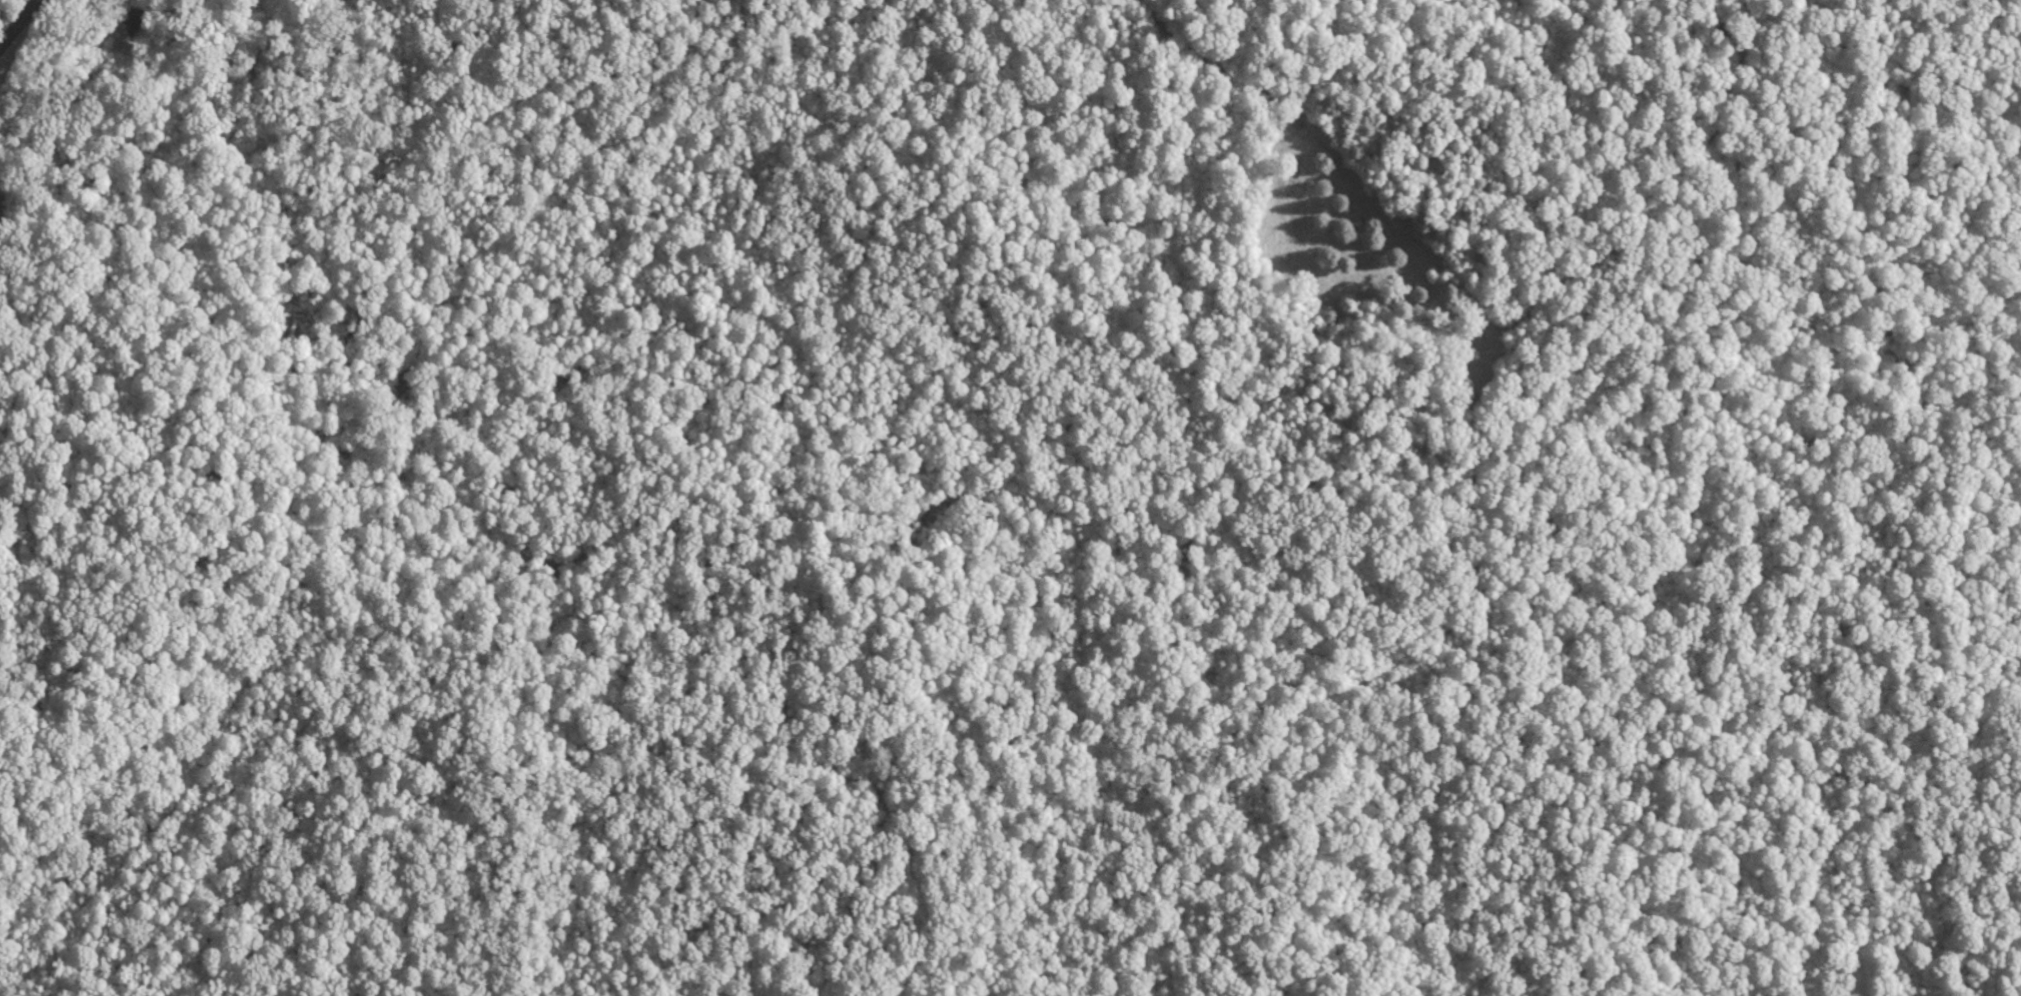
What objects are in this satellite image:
road: (19, 25)

